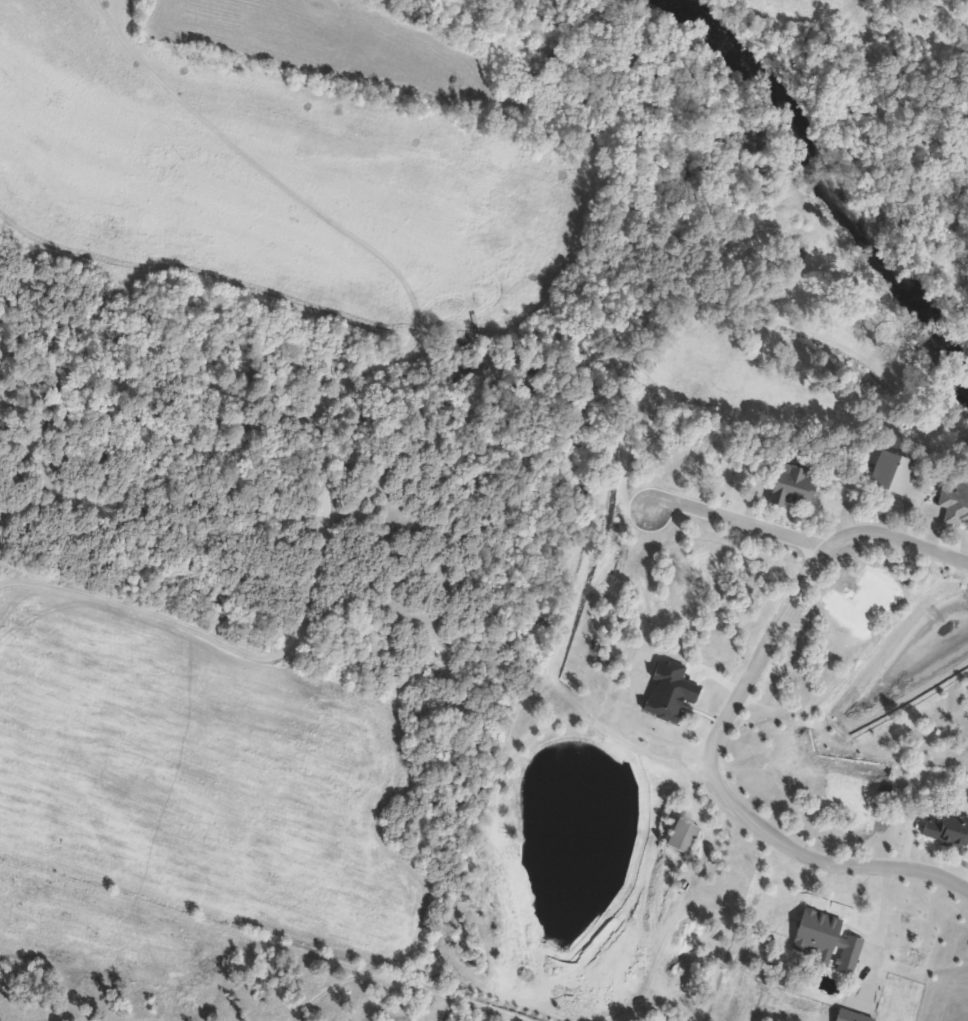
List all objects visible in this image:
building: (893, 470)
building: (795, 486)
building: (954, 503)
road: (736, 520)
building: (670, 692)
road: (720, 720)
building: (683, 835)
building: (816, 933)
building: (849, 953)
building: (852, 1016)

